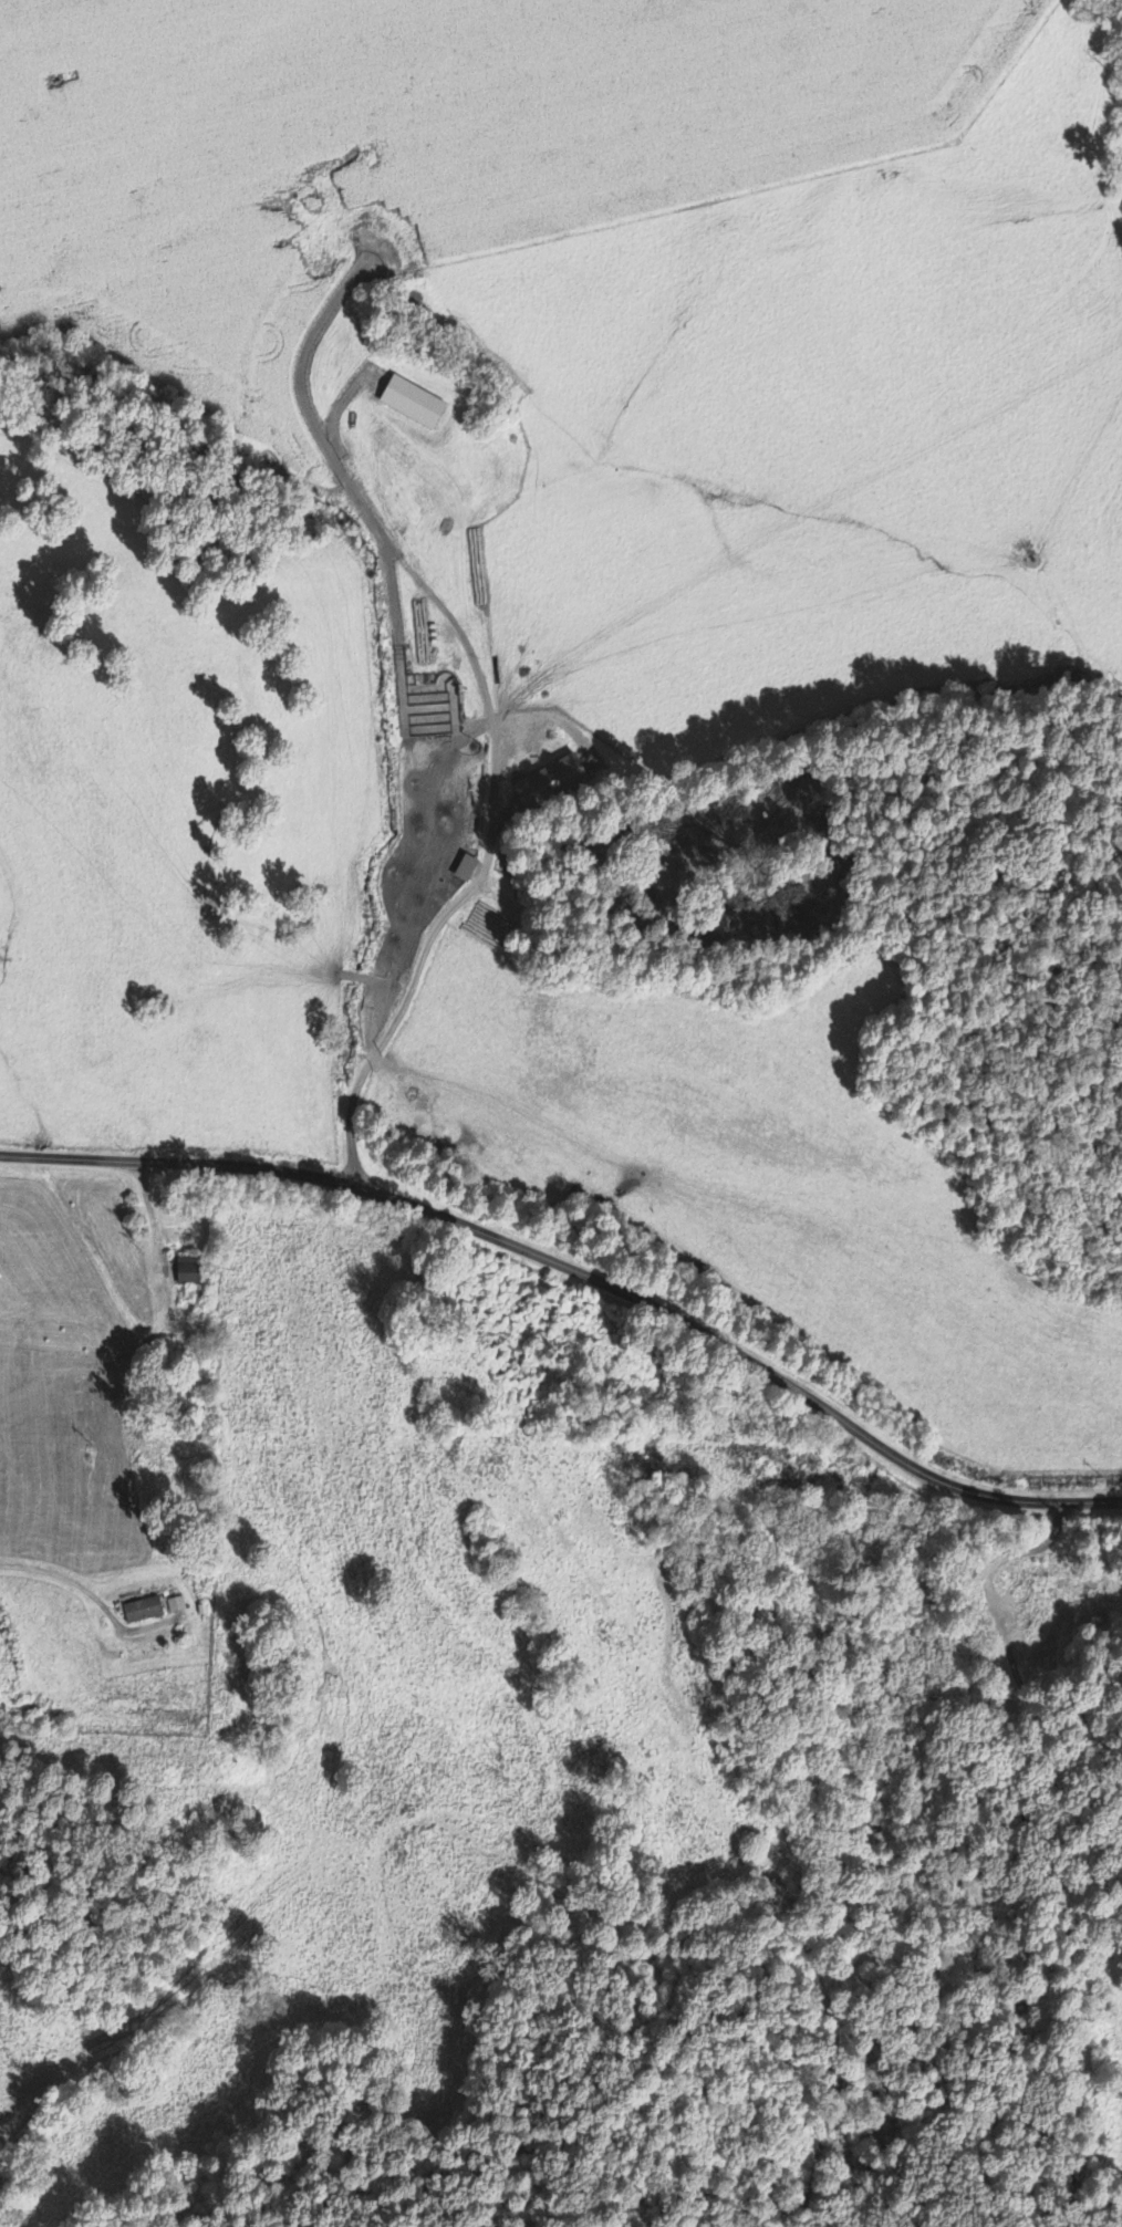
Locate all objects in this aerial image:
building: (413, 404)
road: (441, 607)
building: (550, 783)
road: (466, 891)
road: (378, 1044)
building: (188, 1271)
road: (581, 1272)
road: (163, 1297)
building: (176, 1605)
road: (838, 1606)
building: (144, 1611)

